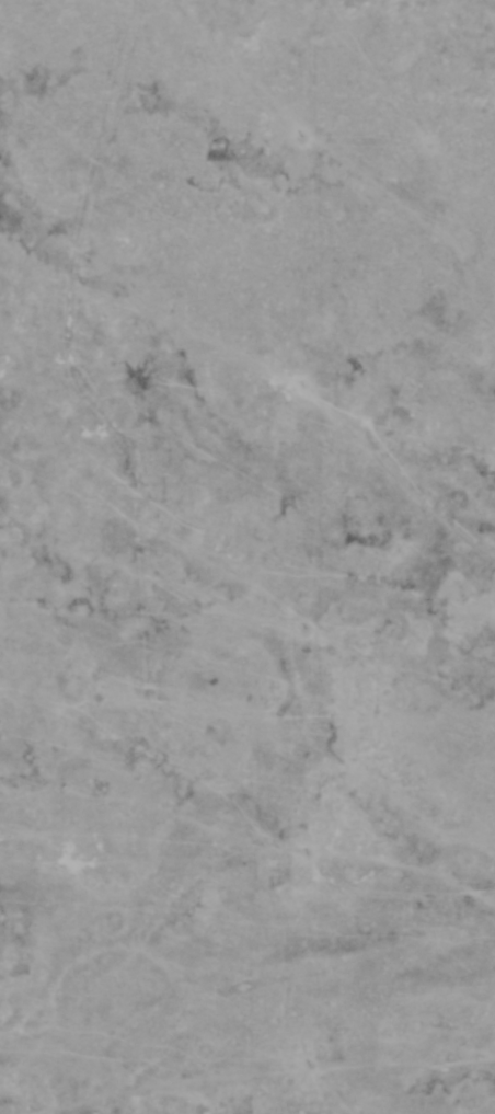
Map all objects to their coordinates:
road: (248, 232)

